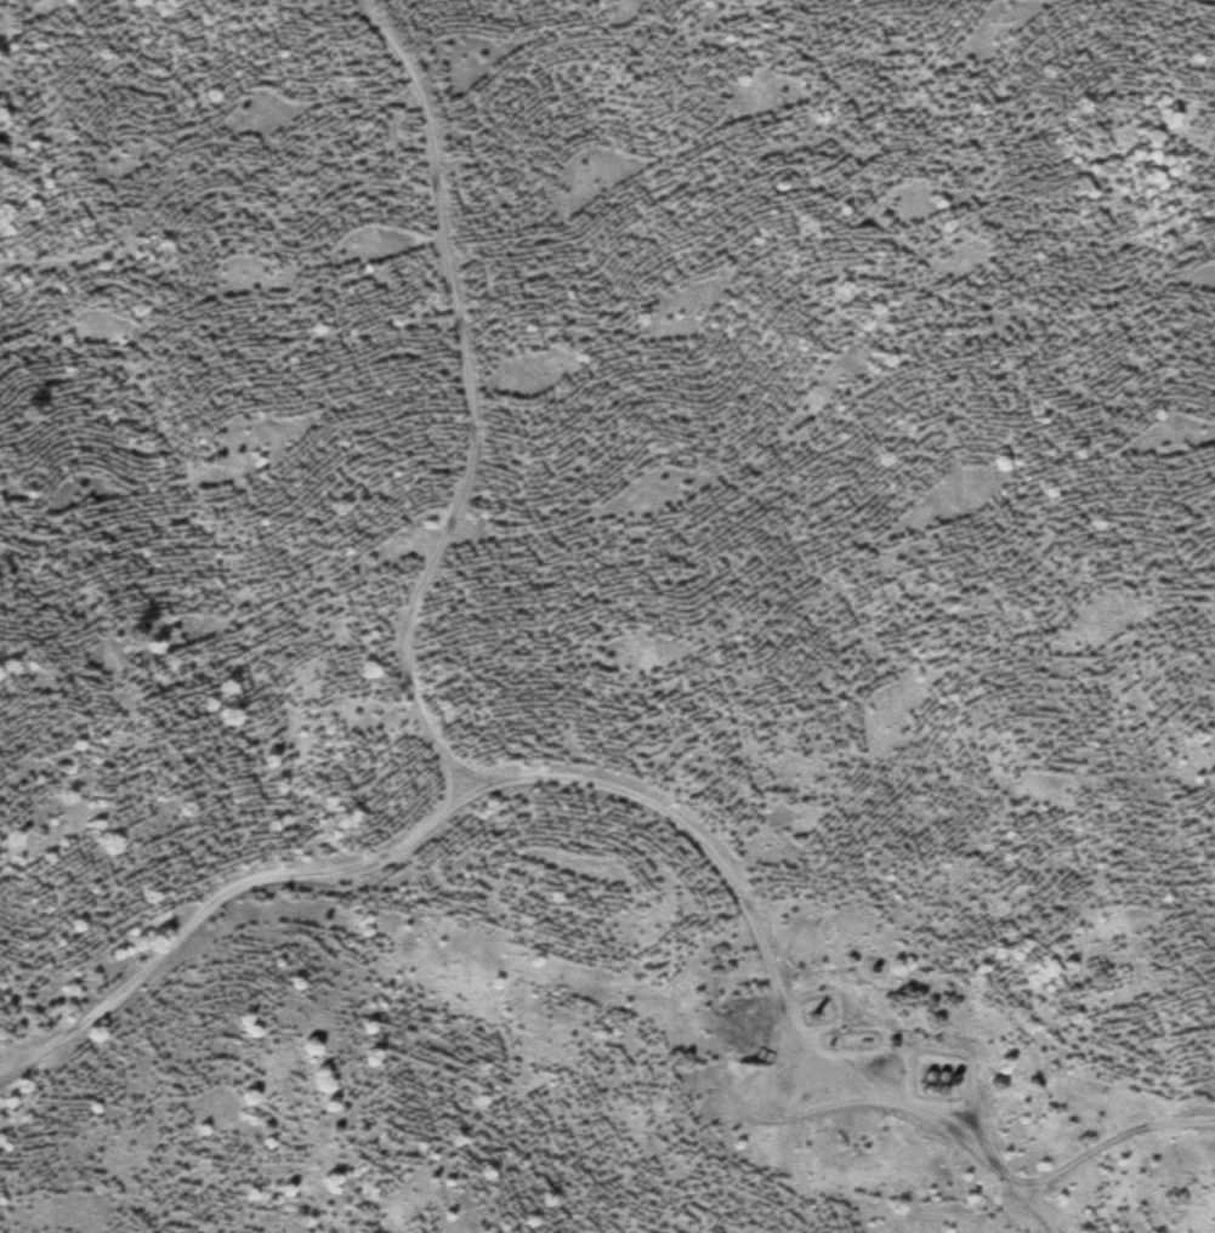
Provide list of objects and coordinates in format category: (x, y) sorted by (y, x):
road: (117, 231)
road: (46, 267)
road: (465, 399)
road: (590, 794)
petroleum well: (763, 1061)
road: (1115, 1147)

